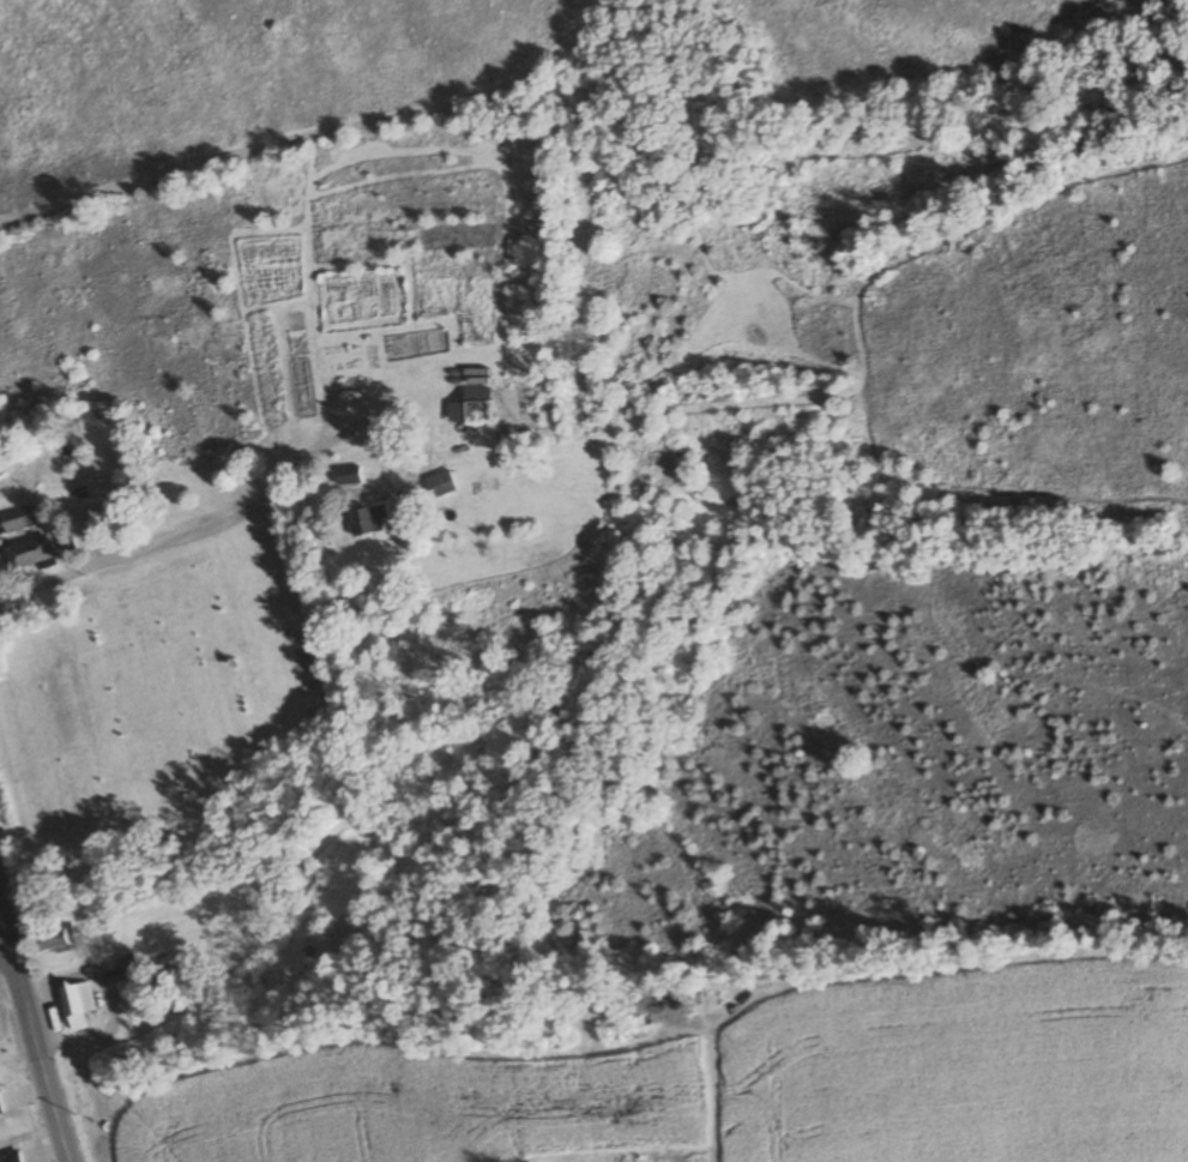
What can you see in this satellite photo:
building: (471, 408)
road: (418, 433)
building: (348, 476)
building: (441, 484)
building: (19, 519)
building: (369, 519)
building: (30, 554)
road: (114, 558)
building: (54, 941)
building: (127, 965)
road: (5, 968)
building: (127, 989)
building: (78, 1005)
building: (659, 1010)
road: (30, 1043)
crop: (736, 1083)

